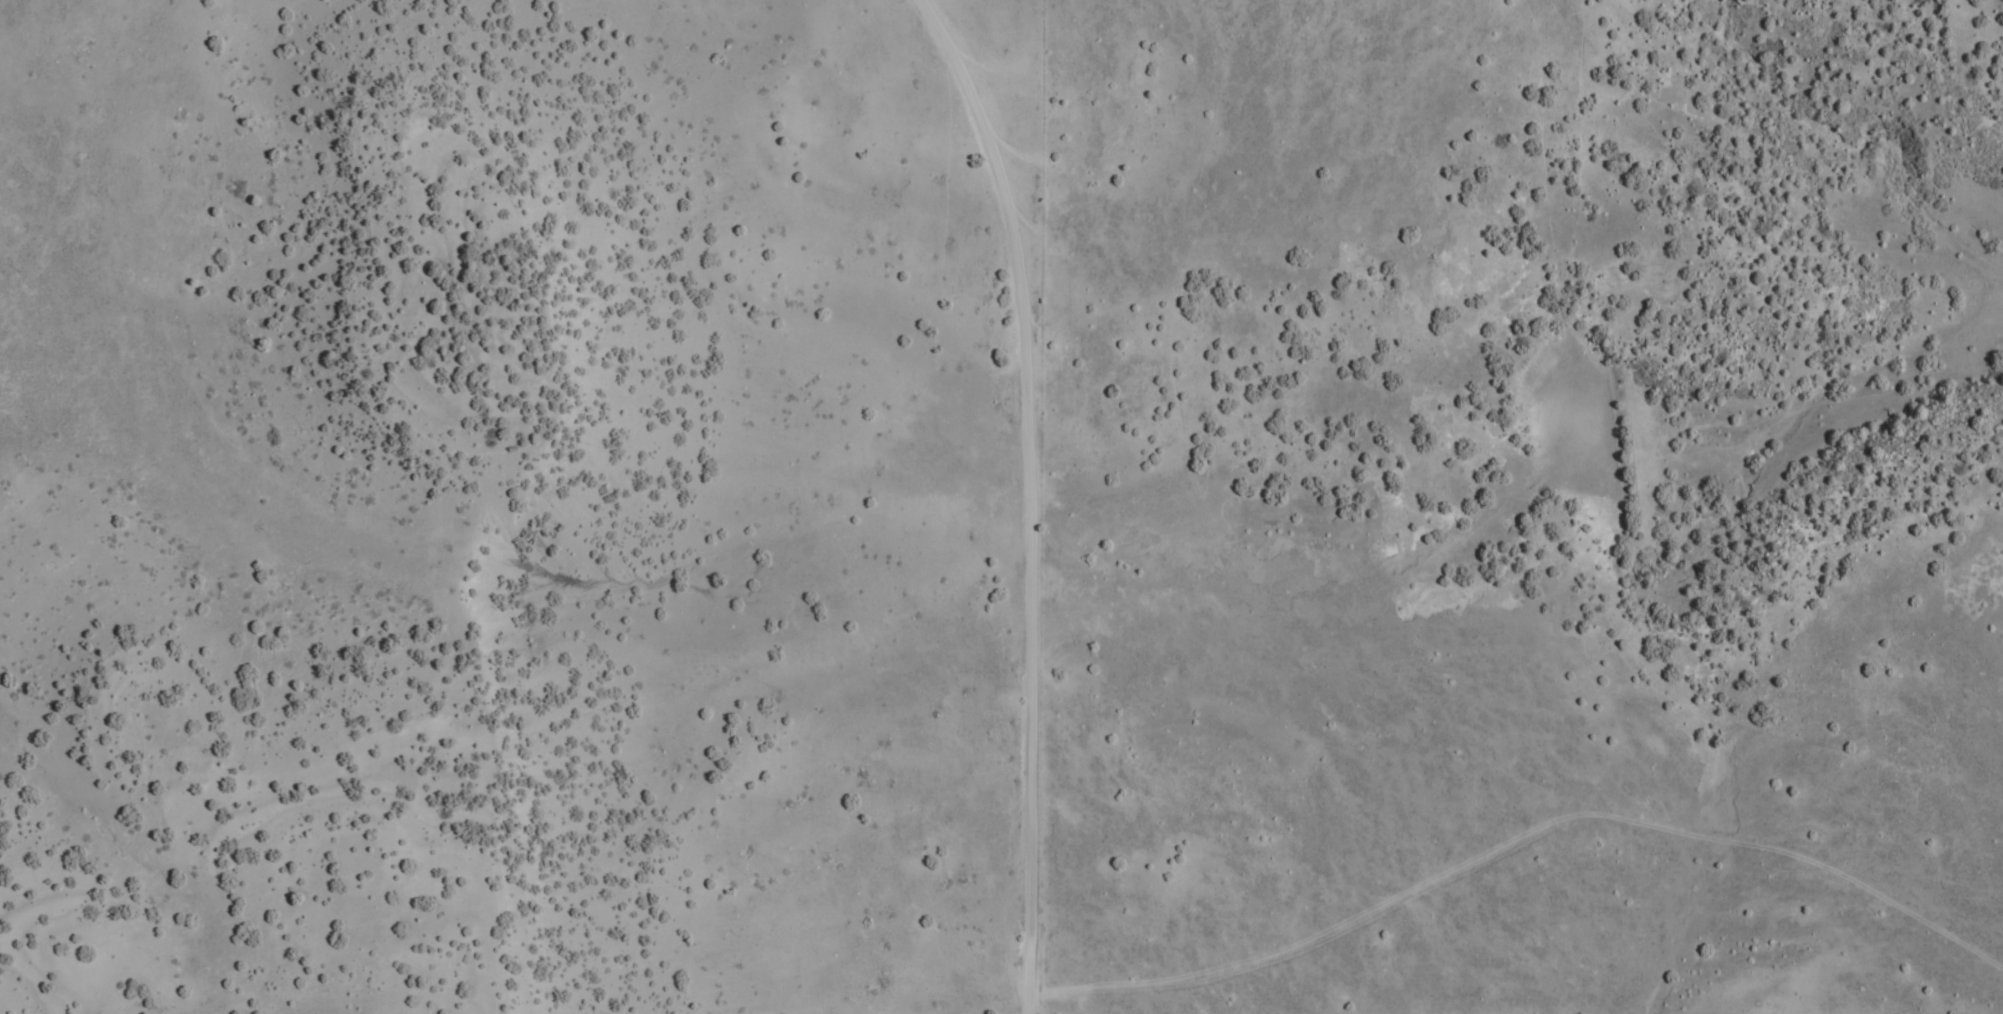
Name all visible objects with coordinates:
road: (976, 502)

